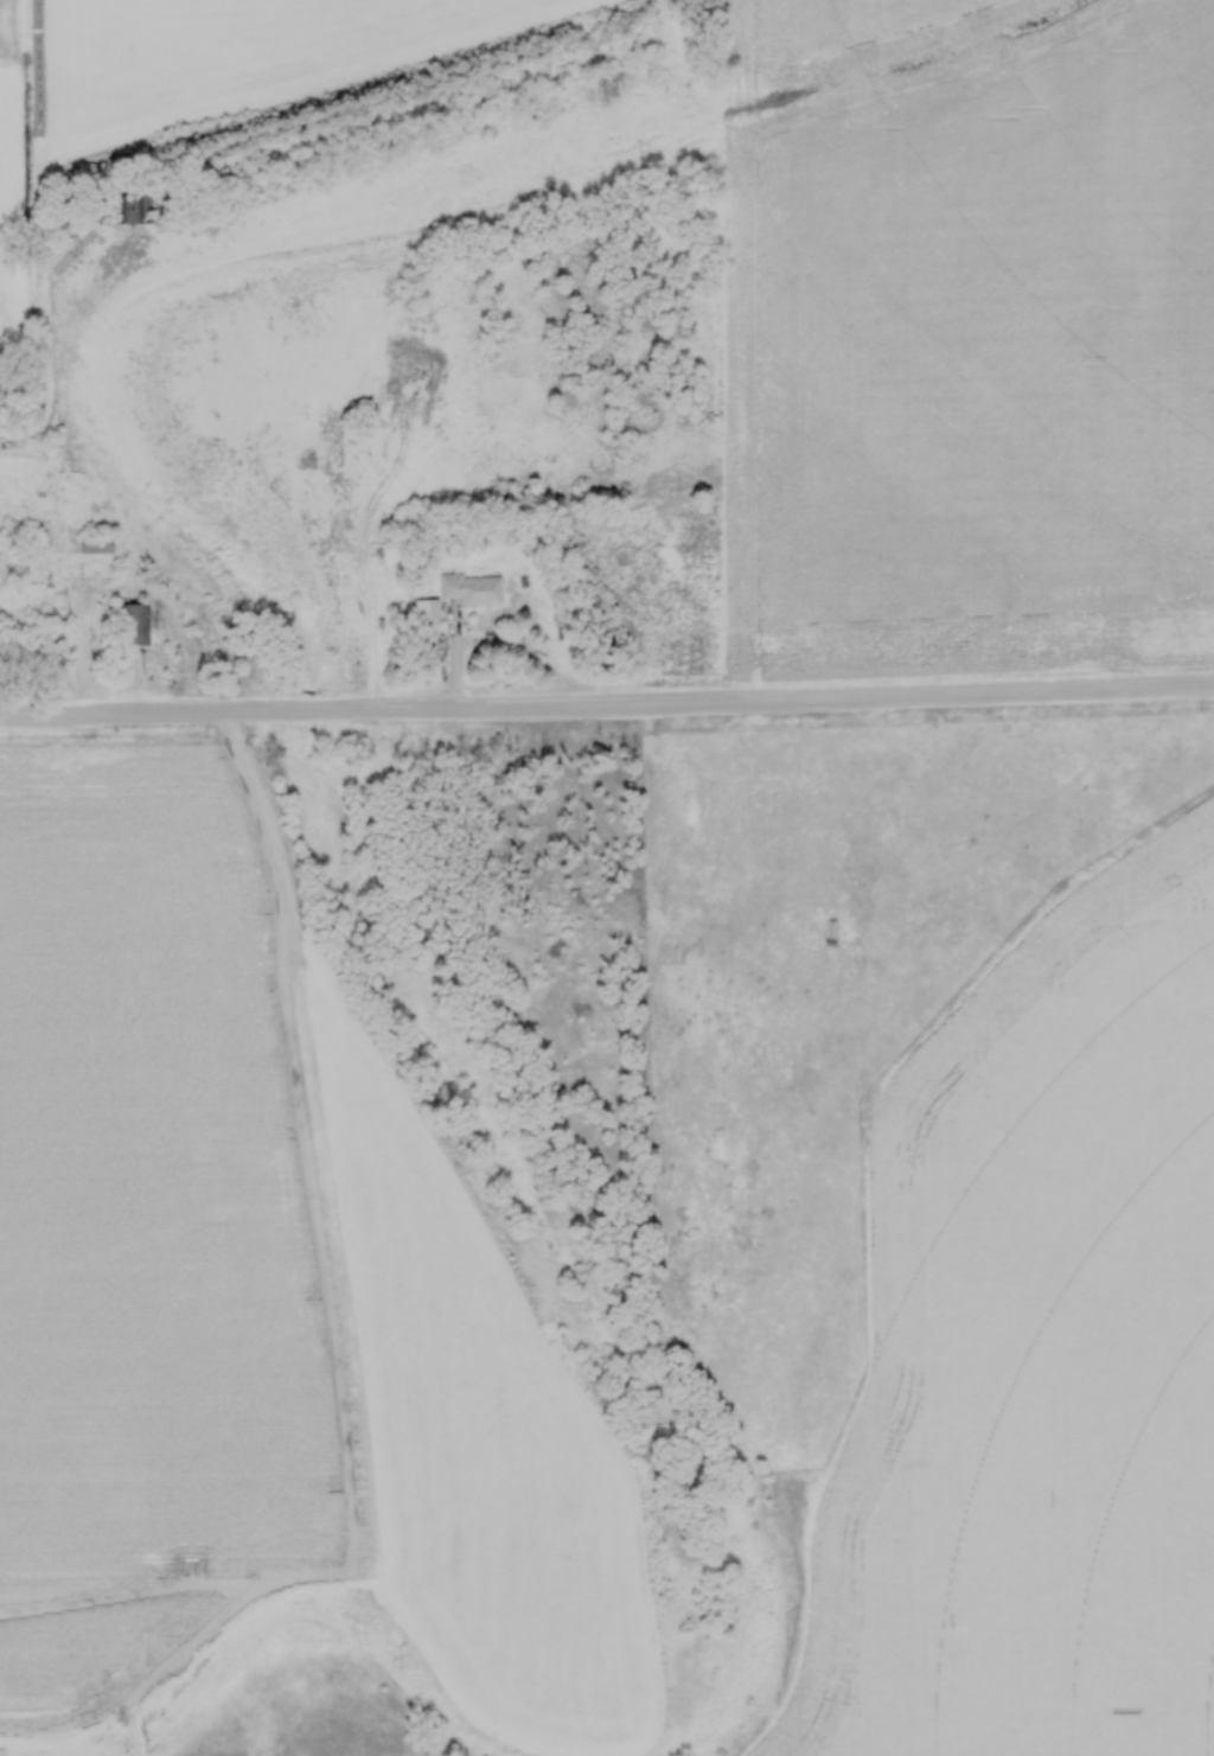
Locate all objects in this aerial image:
crop: (199, 78)
building: (130, 206)
crop: (970, 331)
building: (98, 543)
building: (471, 588)
road: (122, 589)
building: (424, 609)
building: (135, 625)
road: (504, 640)
road: (607, 701)
crop: (954, 1207)
crop: (258, 1300)

